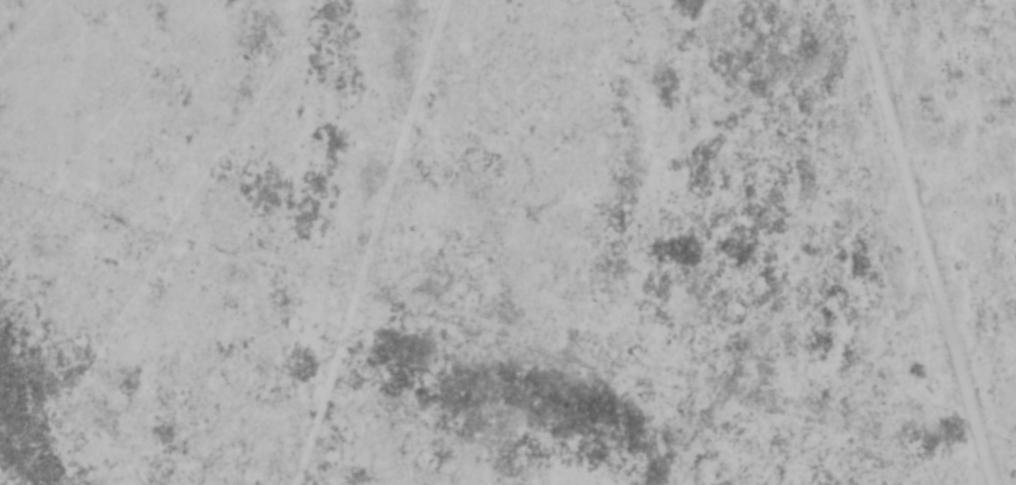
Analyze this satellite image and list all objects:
road: (913, 245)

